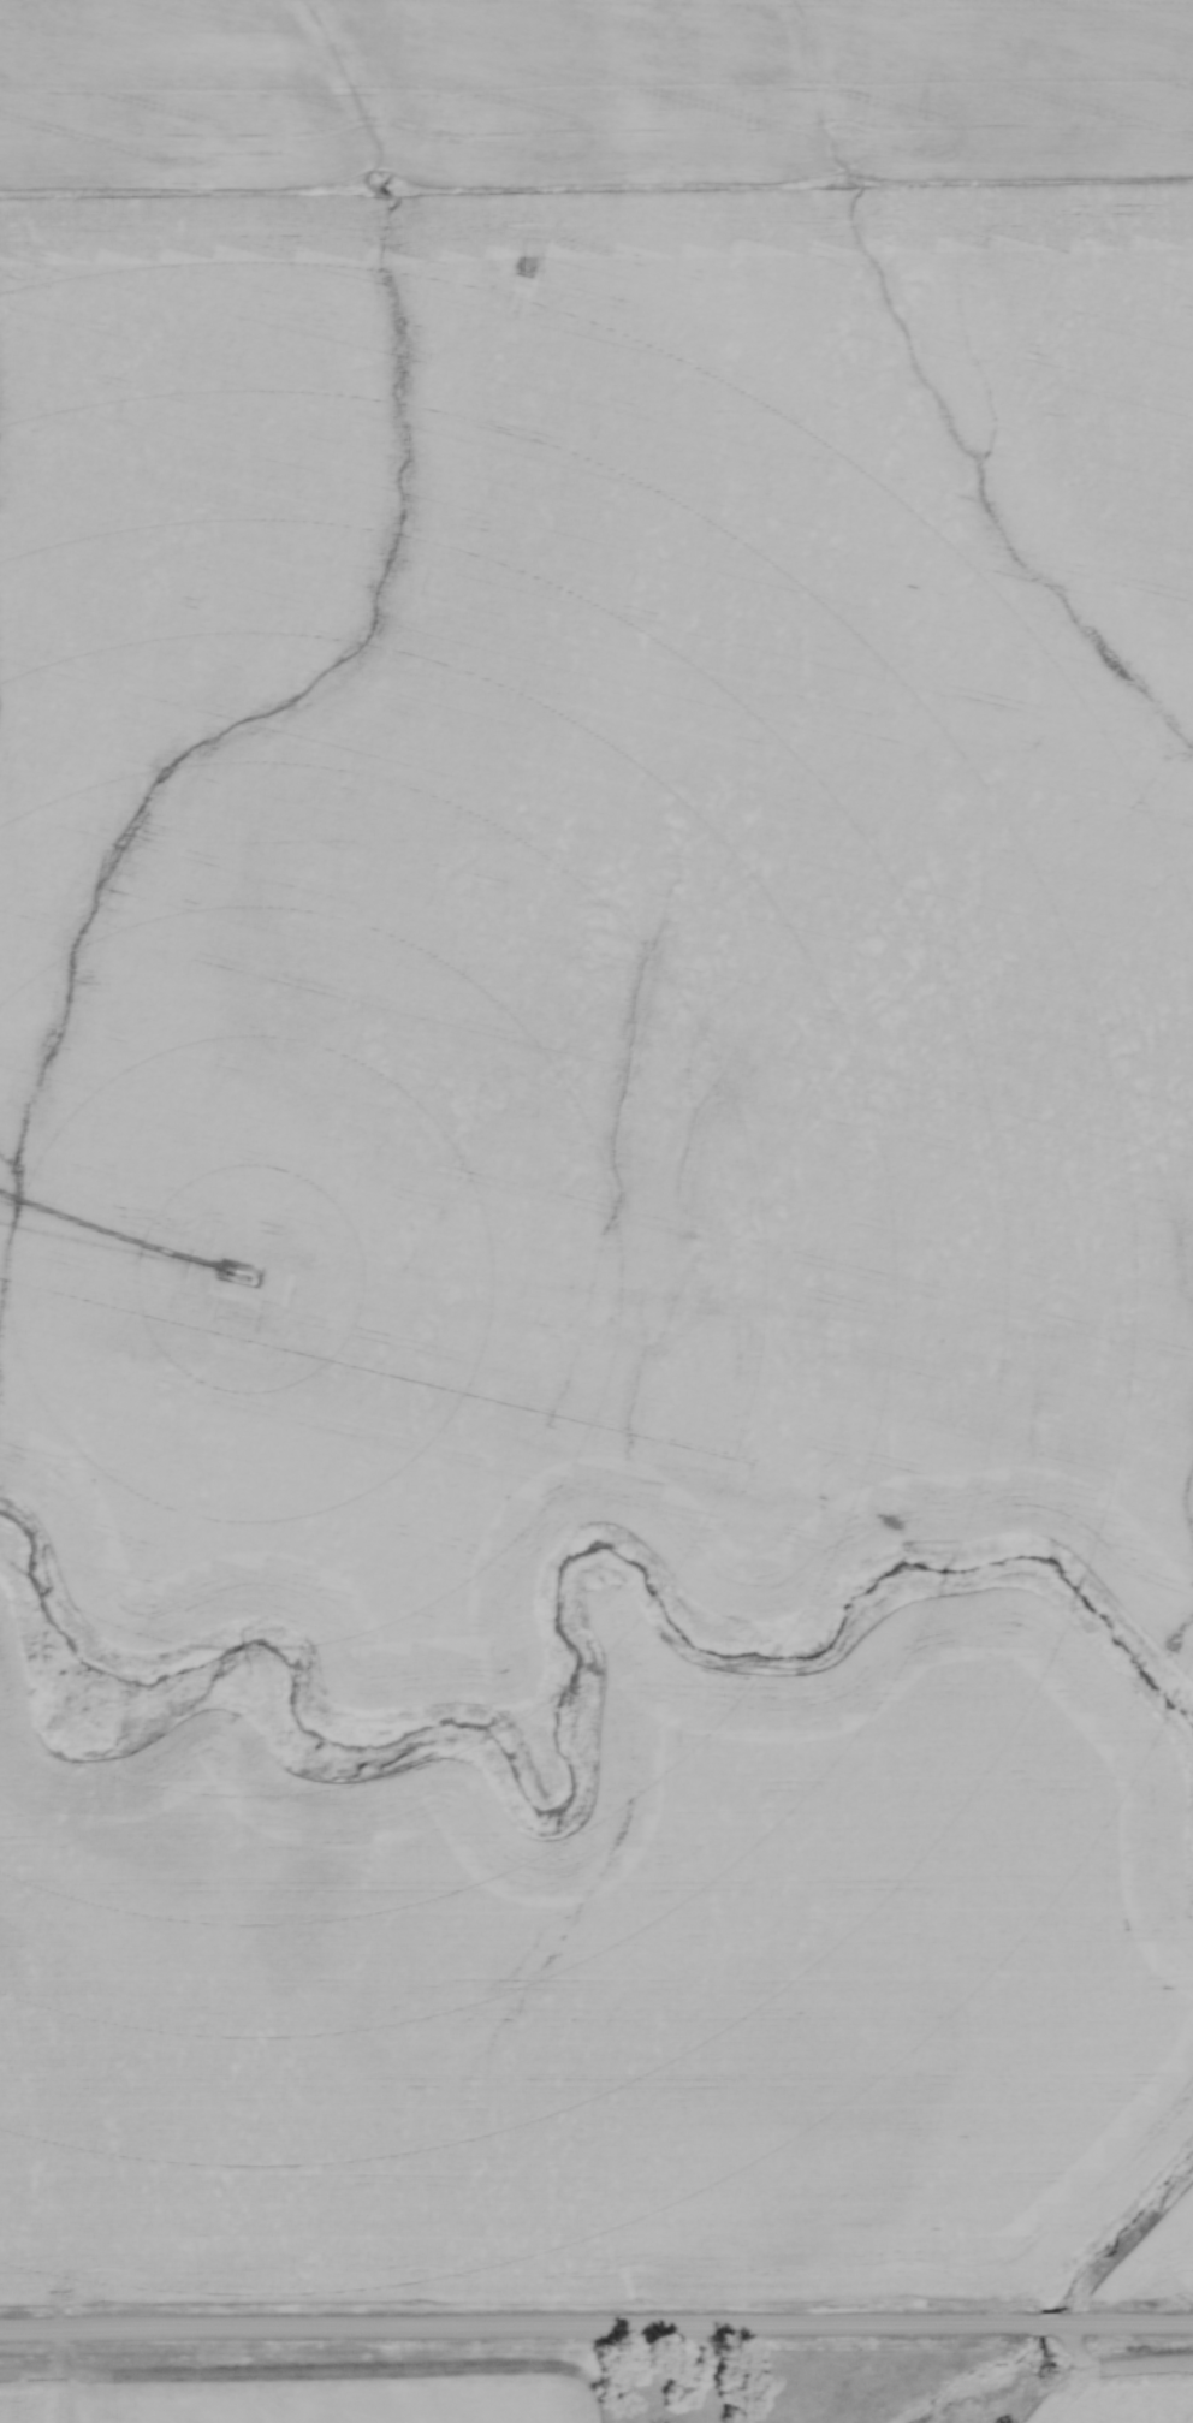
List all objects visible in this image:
power tower: (517, 260)
river: (566, 1687)
road: (595, 2330)

